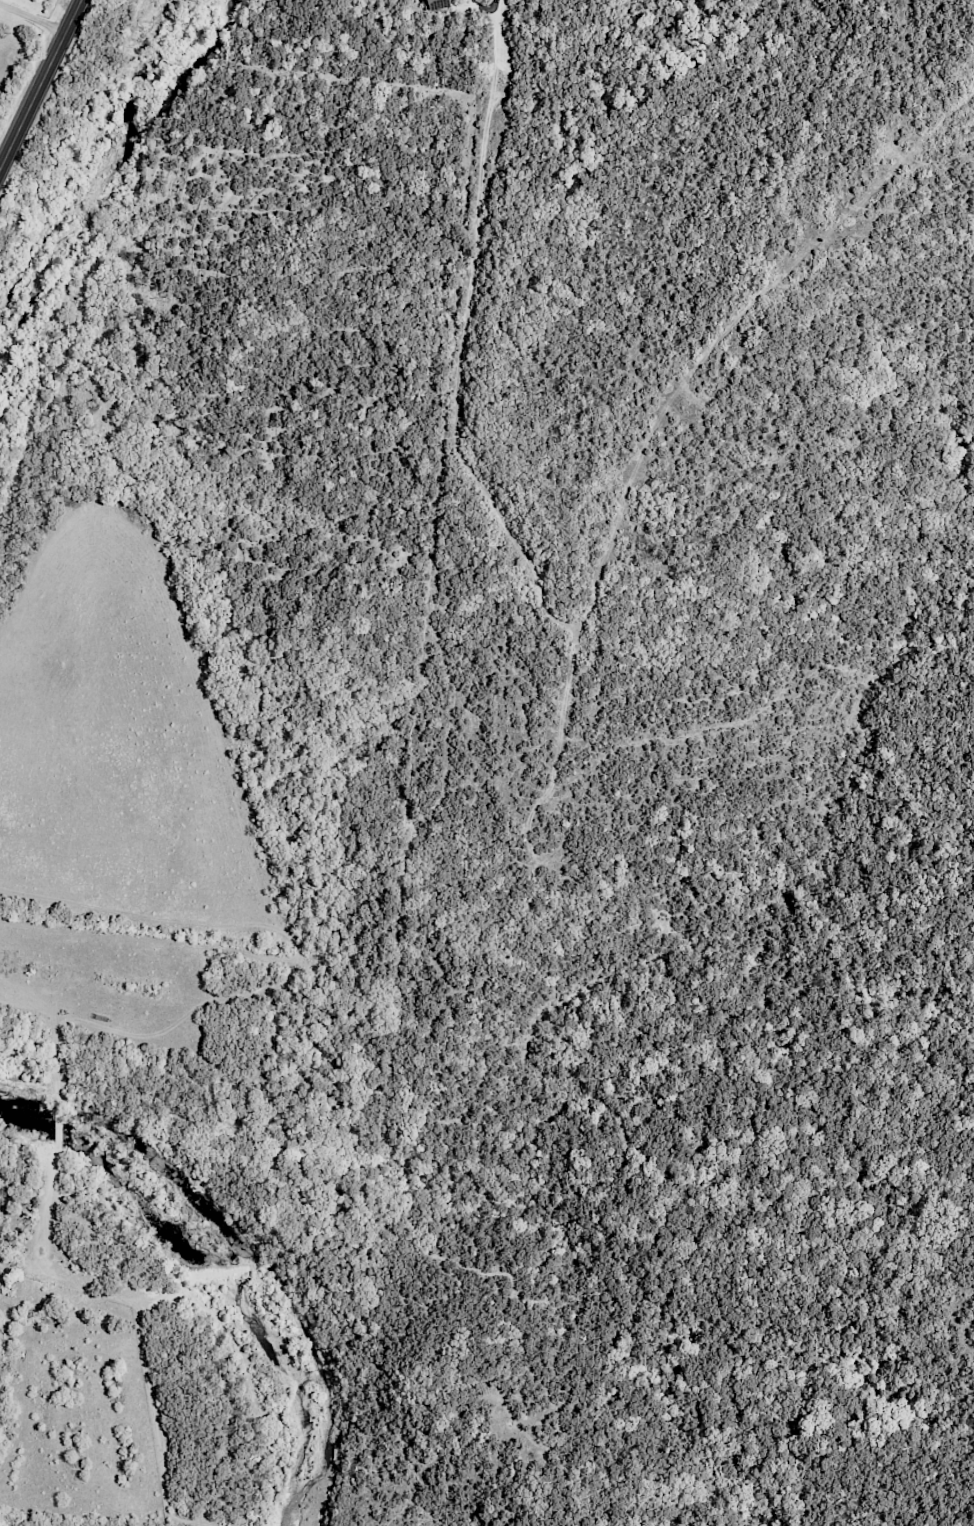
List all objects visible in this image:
building: (439, 3)
road: (33, 18)
road: (41, 85)
road: (465, 335)
road: (691, 376)

